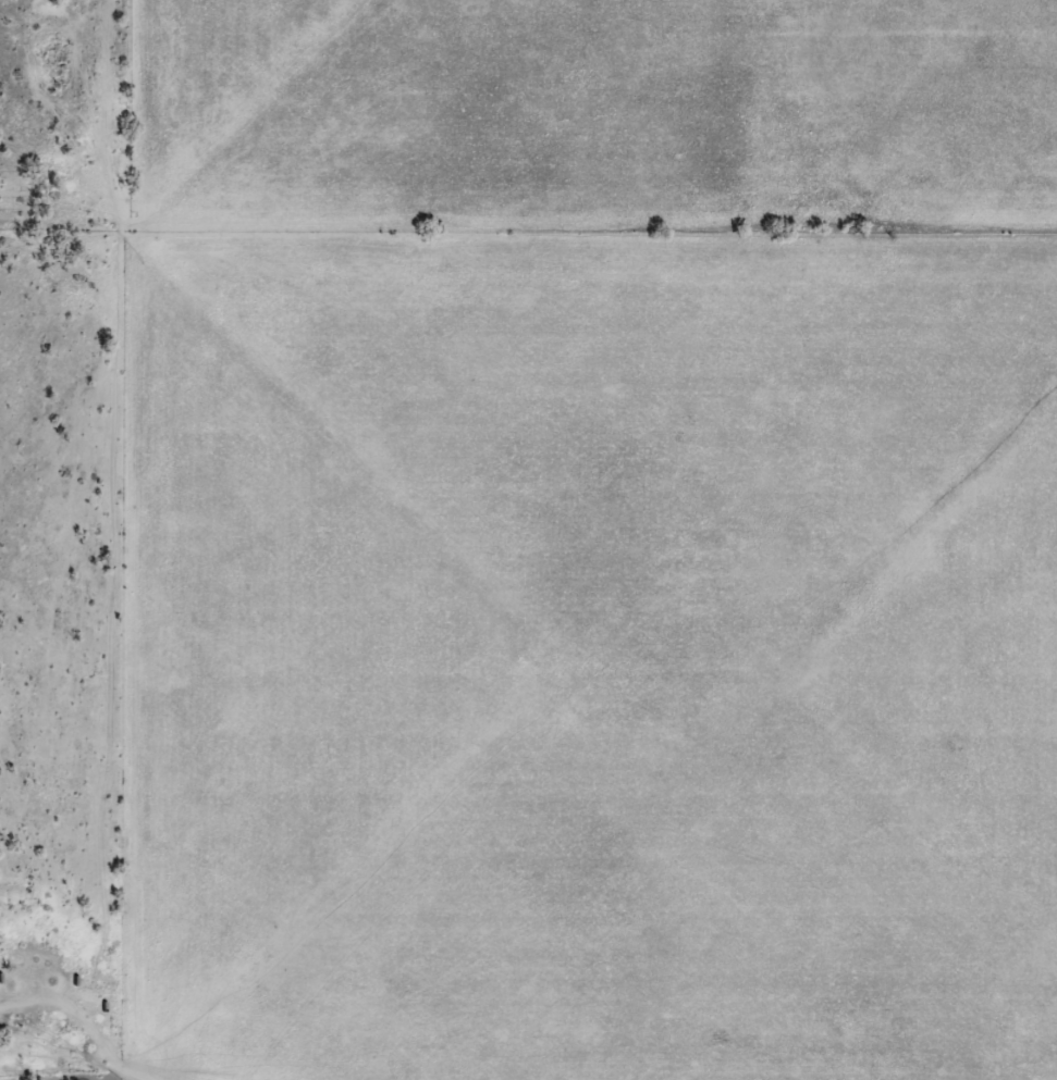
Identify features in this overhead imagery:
road: (146, 1073)

